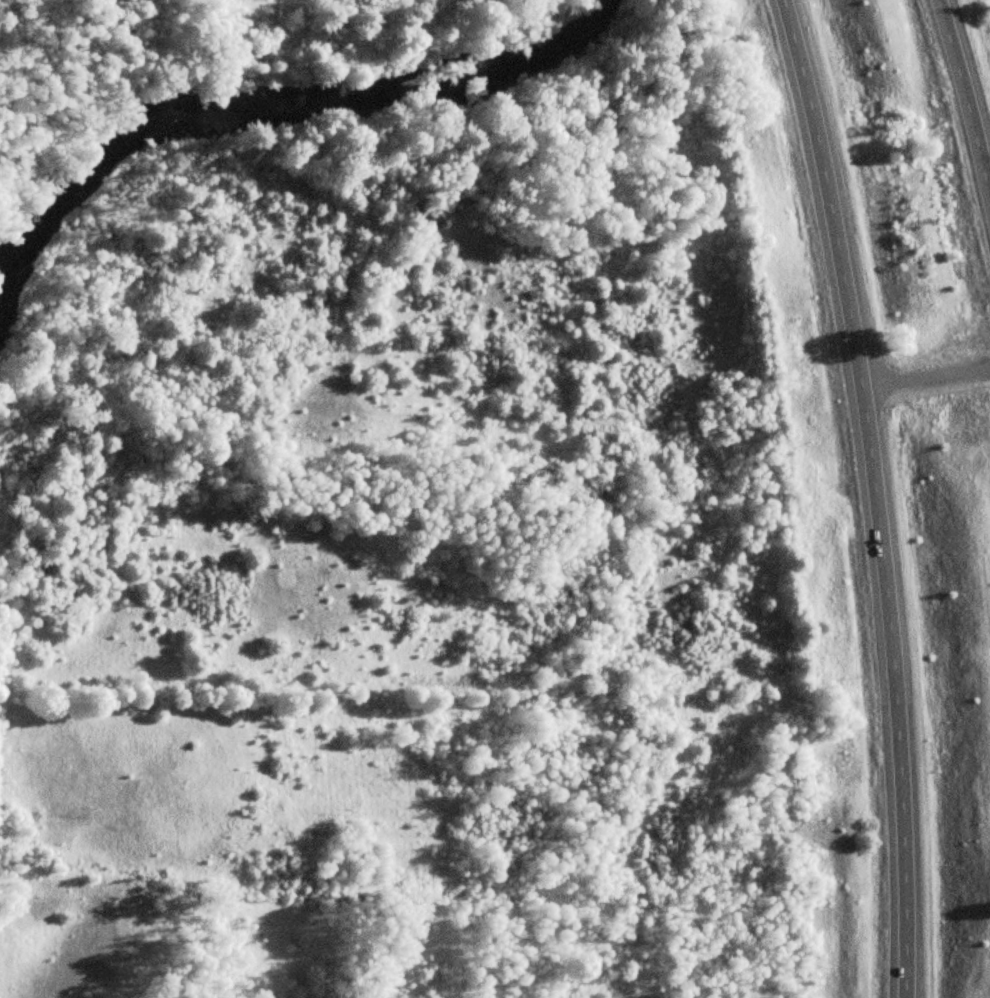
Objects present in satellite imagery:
road: (965, 98)
river: (277, 105)
road: (925, 373)
road: (874, 495)

